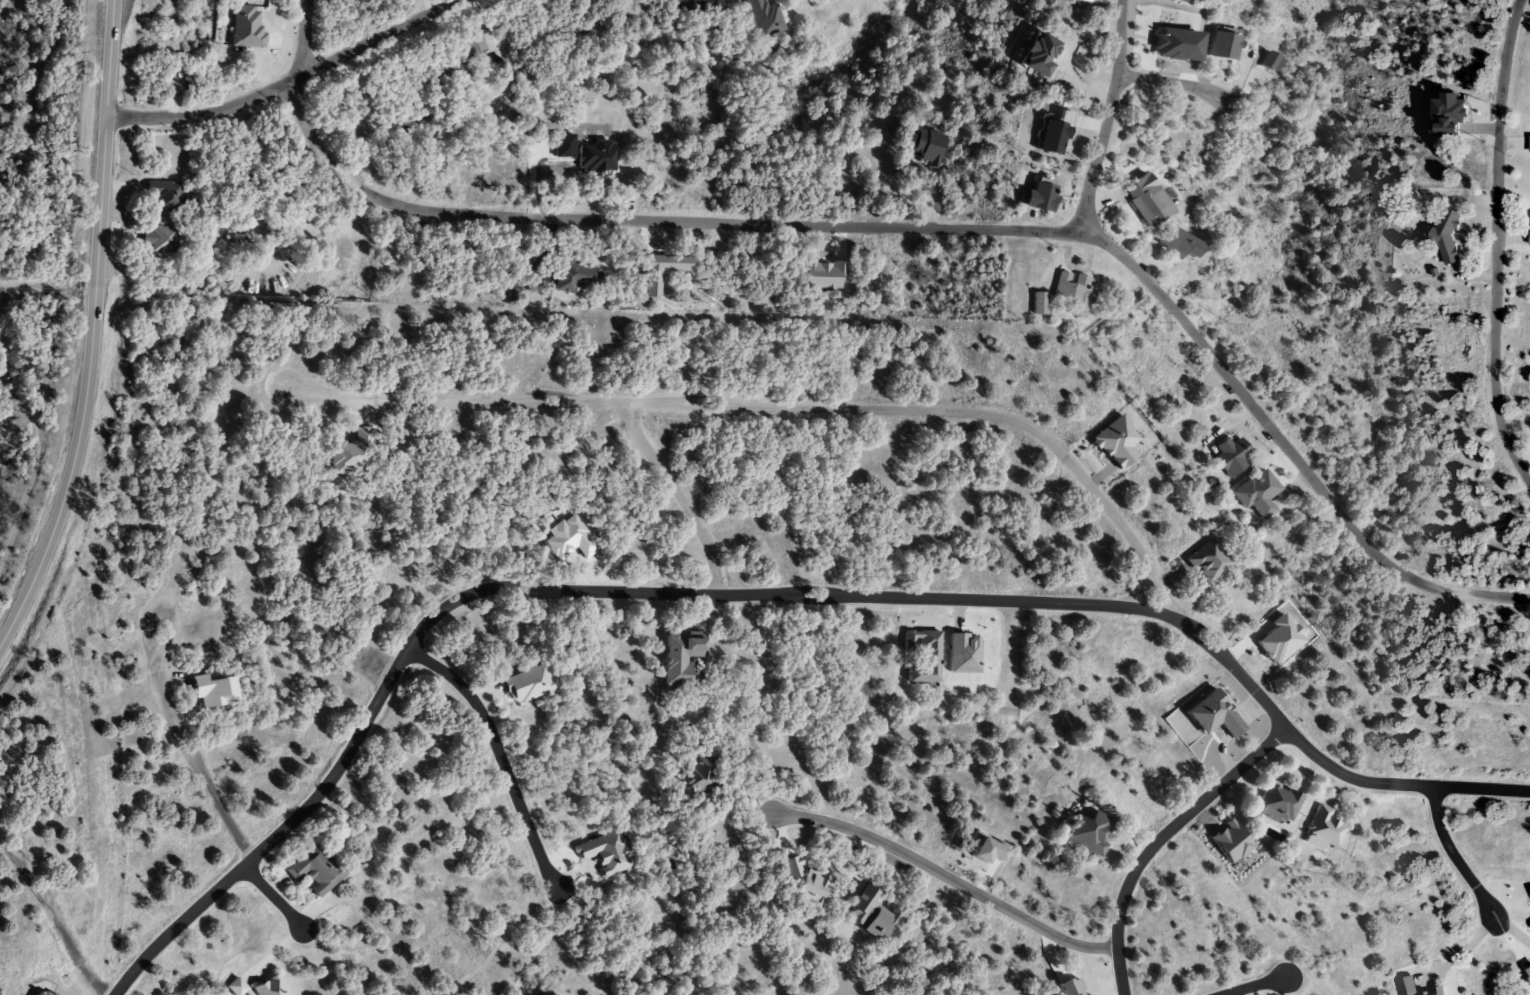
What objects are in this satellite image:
building: (1181, 1)
building: (762, 17)
building: (246, 26)
building: (473, 44)
building: (1220, 45)
building: (1039, 55)
building: (1263, 63)
building: (450, 66)
road: (287, 81)
road: (1166, 81)
road: (1105, 118)
building: (1054, 134)
building: (1529, 144)
building: (925, 147)
building: (596, 157)
building: (162, 196)
building: (1037, 196)
building: (1144, 201)
road: (914, 227)
building: (1445, 237)
building: (1529, 238)
building: (156, 239)
building: (1175, 242)
road: (1496, 245)
building: (576, 277)
building: (1072, 293)
building: (1037, 303)
road: (92, 329)
road: (771, 405)
building: (1229, 456)
road: (677, 494)
building: (1256, 494)
road: (762, 594)
building: (922, 656)
road: (1009, 659)
building: (526, 684)
road: (501, 757)
building: (696, 774)
building: (1277, 804)
building: (1322, 830)
building: (1088, 834)
road: (1158, 838)
building: (605, 853)
road: (1450, 855)
building: (314, 870)
road: (945, 878)
road: (273, 901)
park: (470, 985)
road: (1254, 986)
building: (1414, 988)

